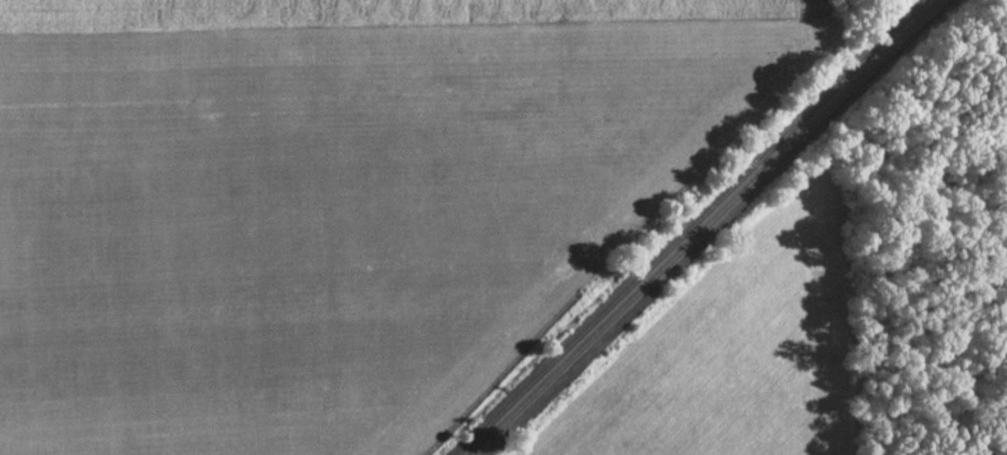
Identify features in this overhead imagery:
railway: (866, 65)
crop: (332, 198)
railway: (687, 227)

